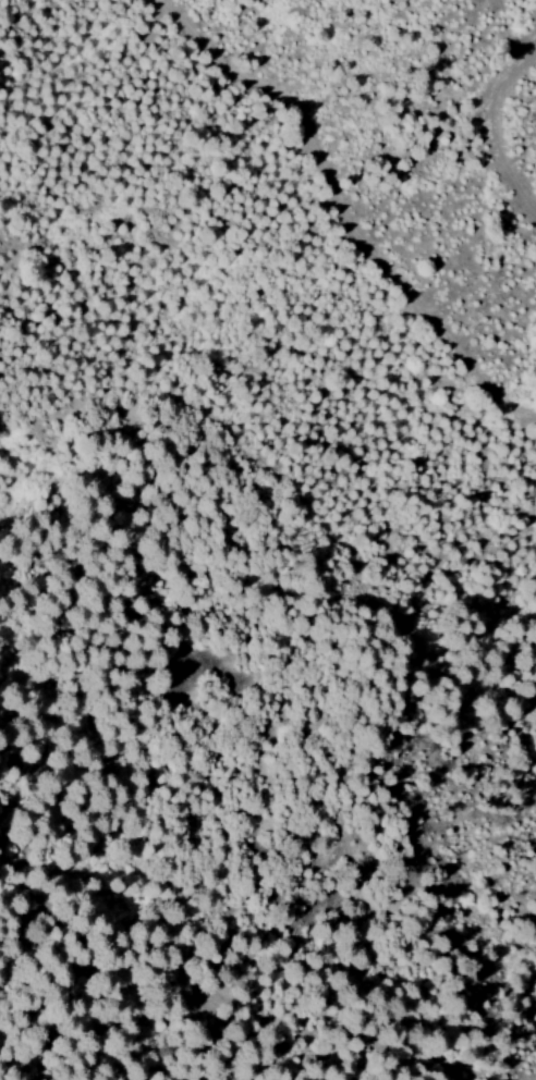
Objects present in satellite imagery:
road: (489, 164)
road: (305, 202)

